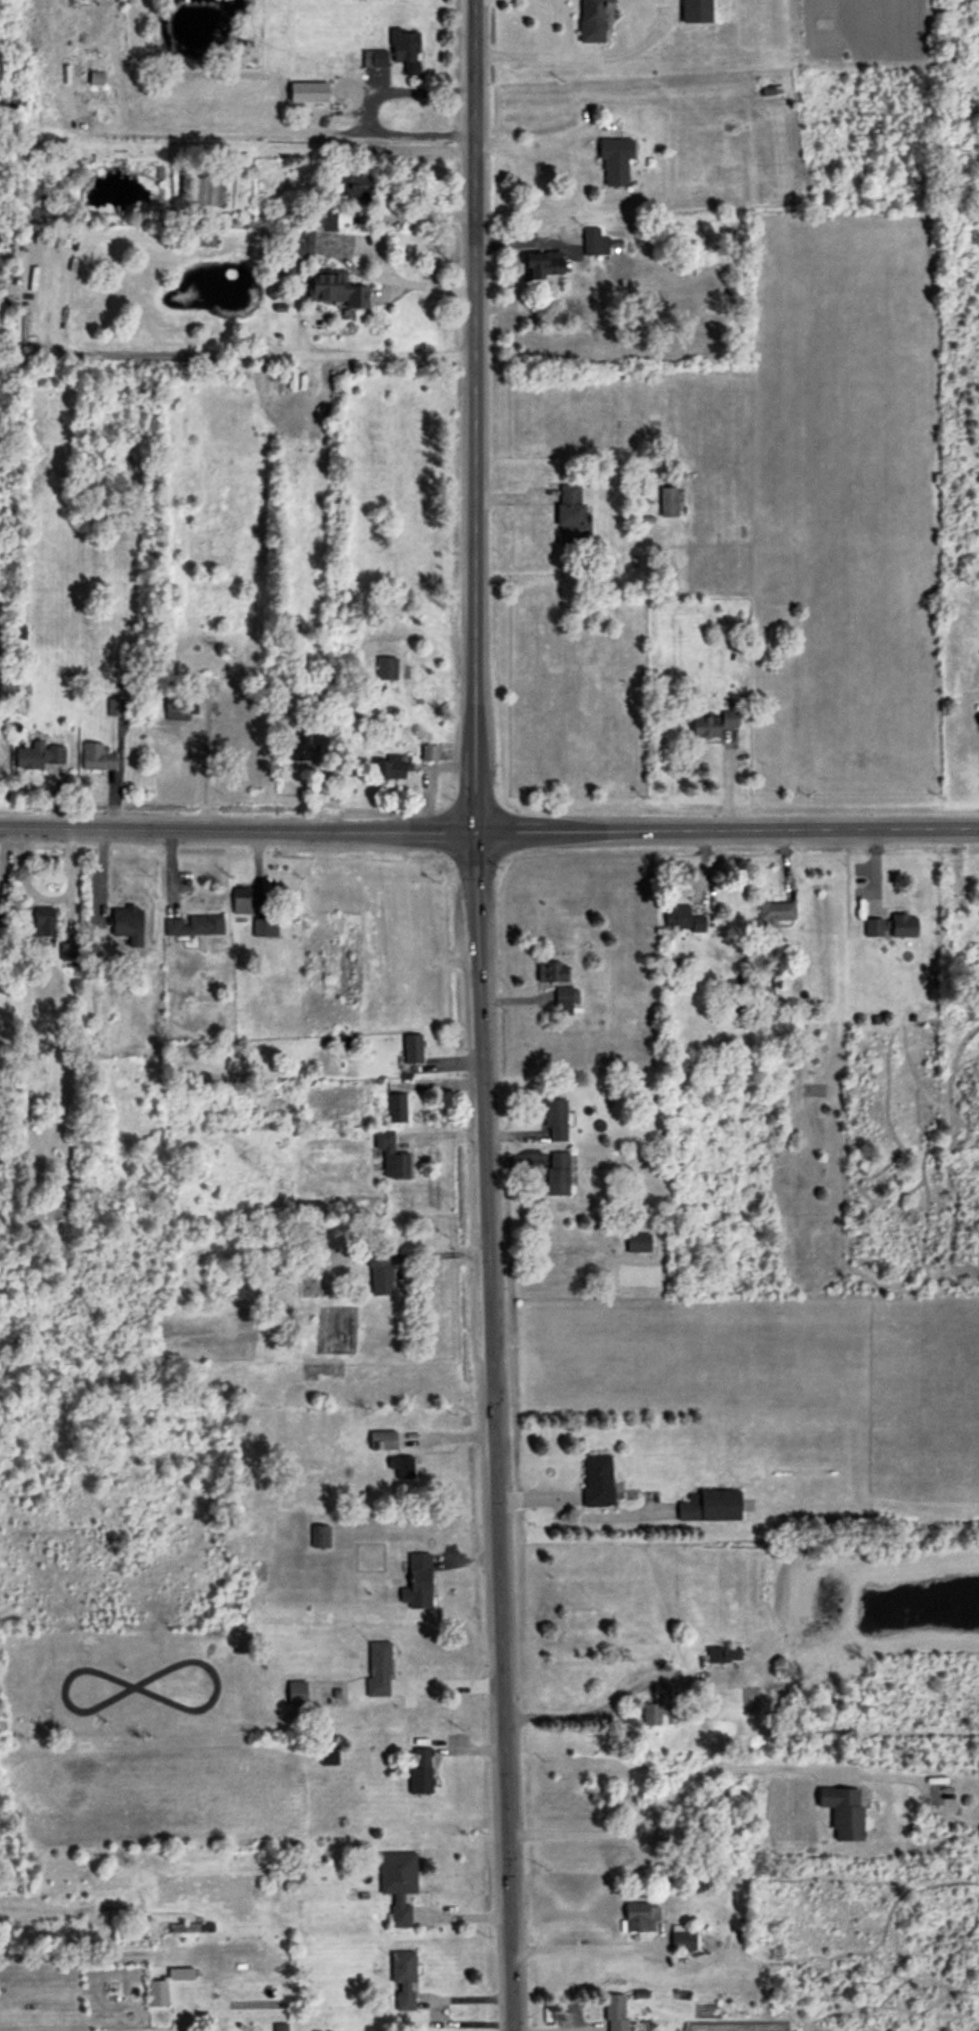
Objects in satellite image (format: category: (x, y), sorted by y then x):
building: (696, 12)
building: (591, 21)
building: (404, 49)
road: (547, 55)
building: (374, 60)
road: (403, 91)
road: (298, 130)
road: (534, 142)
building: (615, 163)
building: (356, 190)
building: (597, 243)
road: (372, 245)
building: (296, 248)
building: (542, 265)
building: (327, 289)
road: (309, 375)
building: (641, 480)
building: (668, 503)
building: (569, 515)
building: (21, 633)
building: (386, 669)
building: (117, 708)
building: (177, 708)
building: (728, 720)
building: (704, 728)
building: (304, 746)
building: (429, 753)
building: (39, 756)
building: (97, 758)
road: (205, 765)
building: (391, 768)
road: (489, 831)
building: (242, 902)
building: (775, 914)
building: (683, 921)
building: (43, 922)
building: (127, 924)
building: (194, 926)
building: (891, 927)
building: (265, 928)
building: (551, 973)
building: (562, 1002)
building: (737, 1006)
road: (480, 1015)
building: (412, 1048)
building: (397, 1107)
building: (555, 1121)
building: (391, 1157)
building: (557, 1175)
building: (314, 1208)
building: (638, 1243)
building: (381, 1280)
building: (383, 1441)
building: (403, 1467)
building: (597, 1481)
building: (710, 1506)
road: (575, 1513)
building: (320, 1537)
building: (417, 1583)
building: (723, 1655)
building: (378, 1670)
road: (447, 1684)
building: (295, 1694)
building: (657, 1706)
road: (576, 1713)
building: (328, 1754)
building: (420, 1771)
road: (666, 1799)
building: (843, 1812)
building: (668, 1837)
building: (398, 1884)
building: (640, 1918)
building: (682, 1938)
road: (581, 1947)
building: (181, 1974)
building: (403, 1980)
building: (157, 1993)
building: (615, 2013)
building: (280, 2028)

